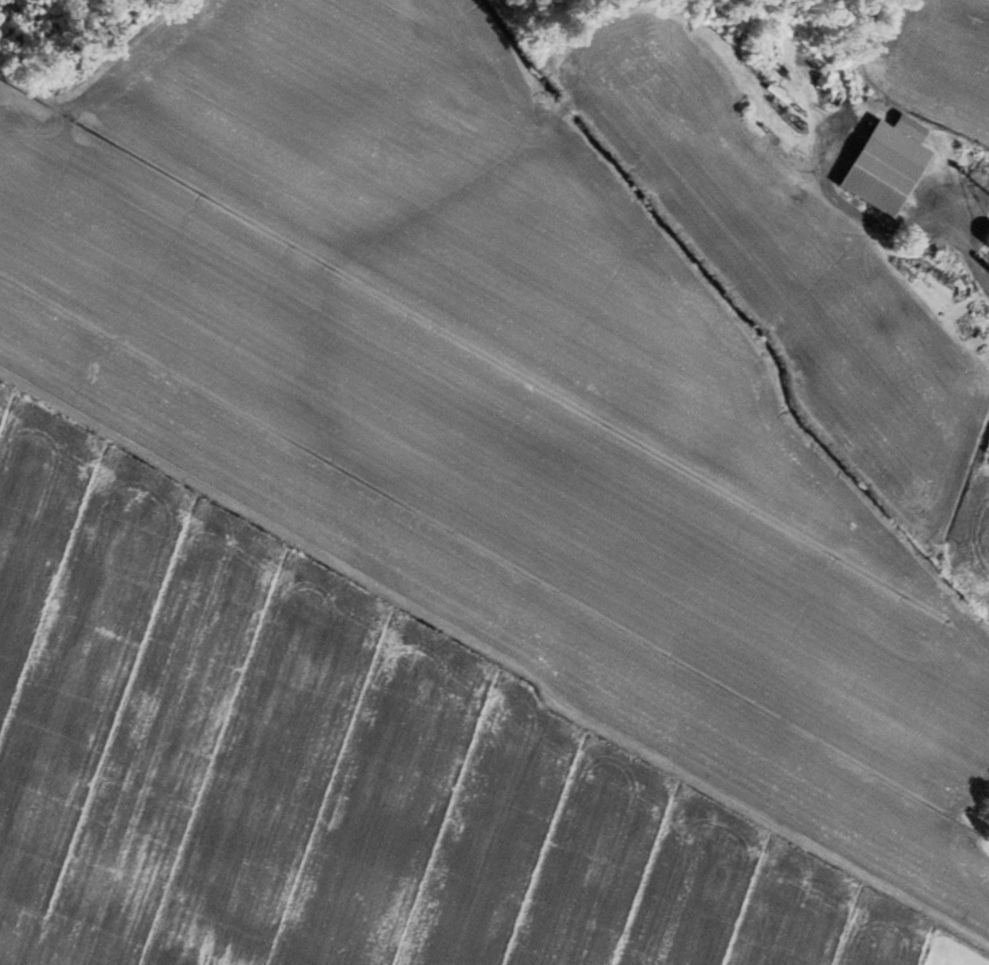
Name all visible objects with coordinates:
building: (888, 170)

